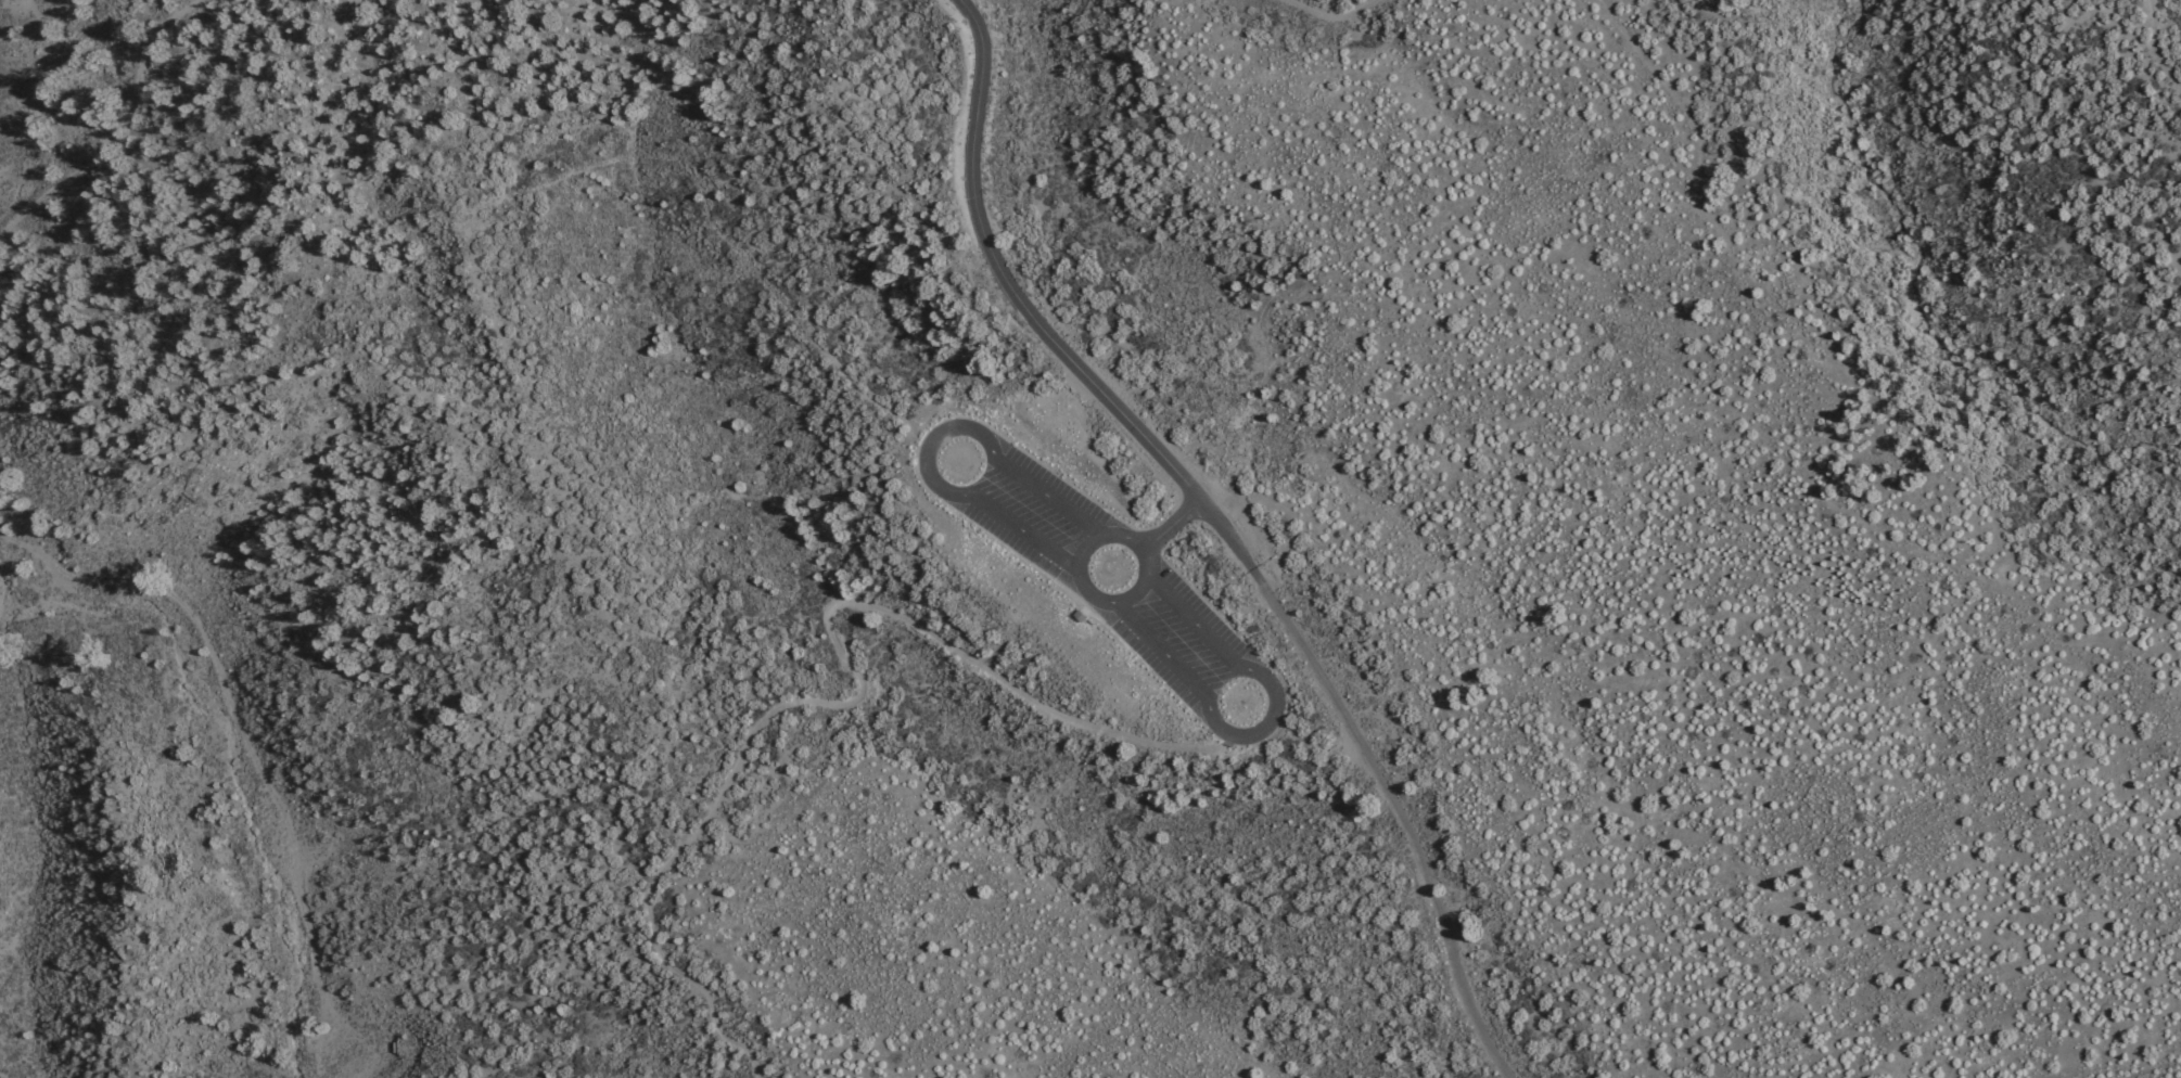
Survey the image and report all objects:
road: (1328, 15)
road: (119, 131)
road: (1036, 323)
road: (929, 440)
road: (1048, 493)
road: (1170, 525)
road: (1017, 535)
parking lot: (1102, 576)
road: (1084, 591)
building: (1079, 617)
road: (1194, 619)
road: (1158, 655)
road: (855, 692)
road: (232, 710)
road: (1265, 727)
road: (1401, 824)

